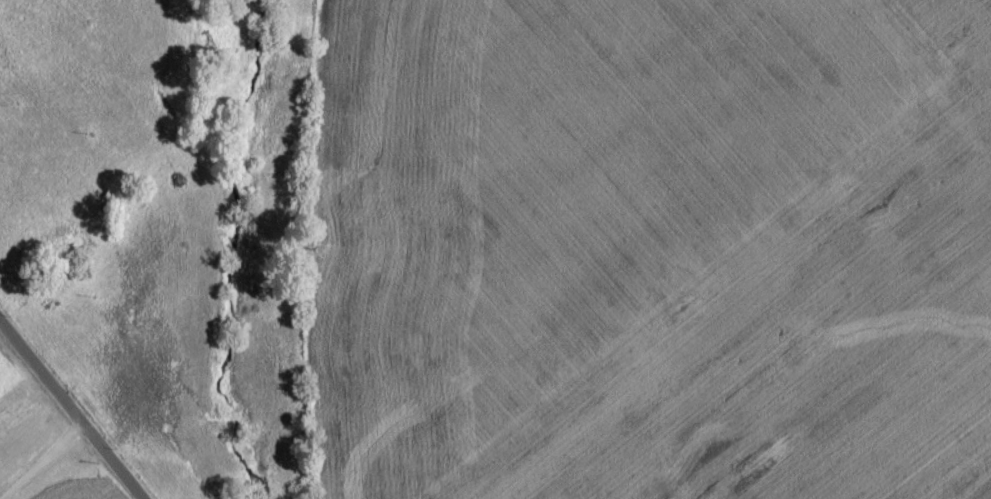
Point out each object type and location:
road: (67, 414)
road: (42, 464)

